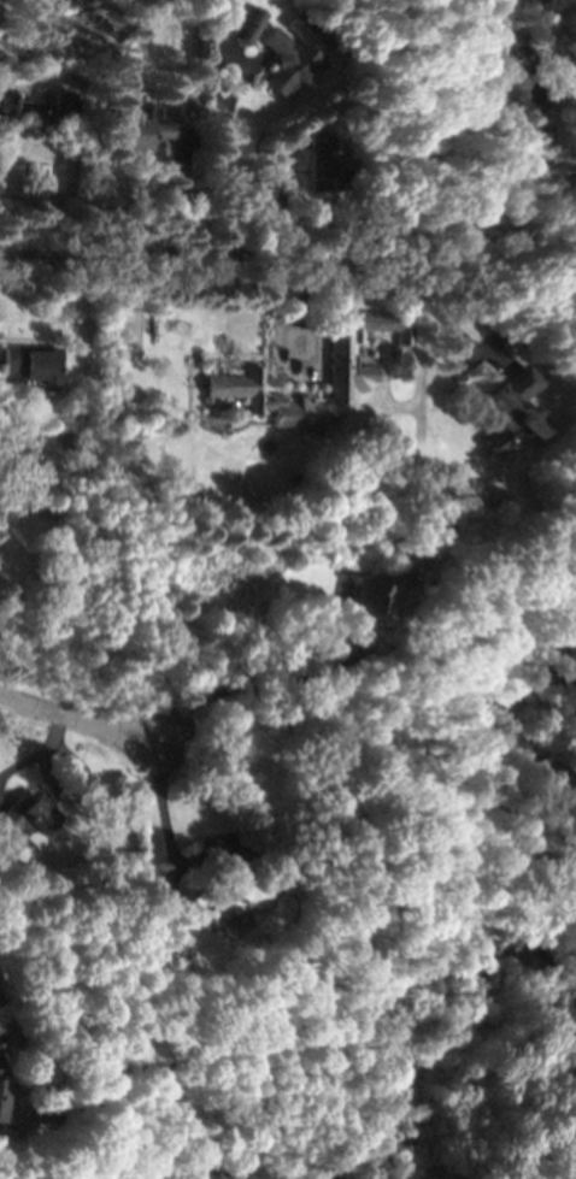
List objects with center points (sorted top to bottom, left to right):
building: (245, 24)
building: (292, 51)
building: (37, 107)
road: (229, 116)
building: (137, 131)
building: (319, 160)
road: (151, 255)
road: (407, 273)
road: (300, 313)
building: (28, 366)
building: (233, 377)
building: (504, 411)
building: (382, 588)
road: (253, 690)
road: (81, 720)
road: (40, 754)
building: (24, 818)
road: (165, 829)
road: (205, 860)
building: (228, 892)
road: (169, 903)
building: (163, 936)
road: (1, 1041)
building: (1, 1071)
building: (4, 1101)

